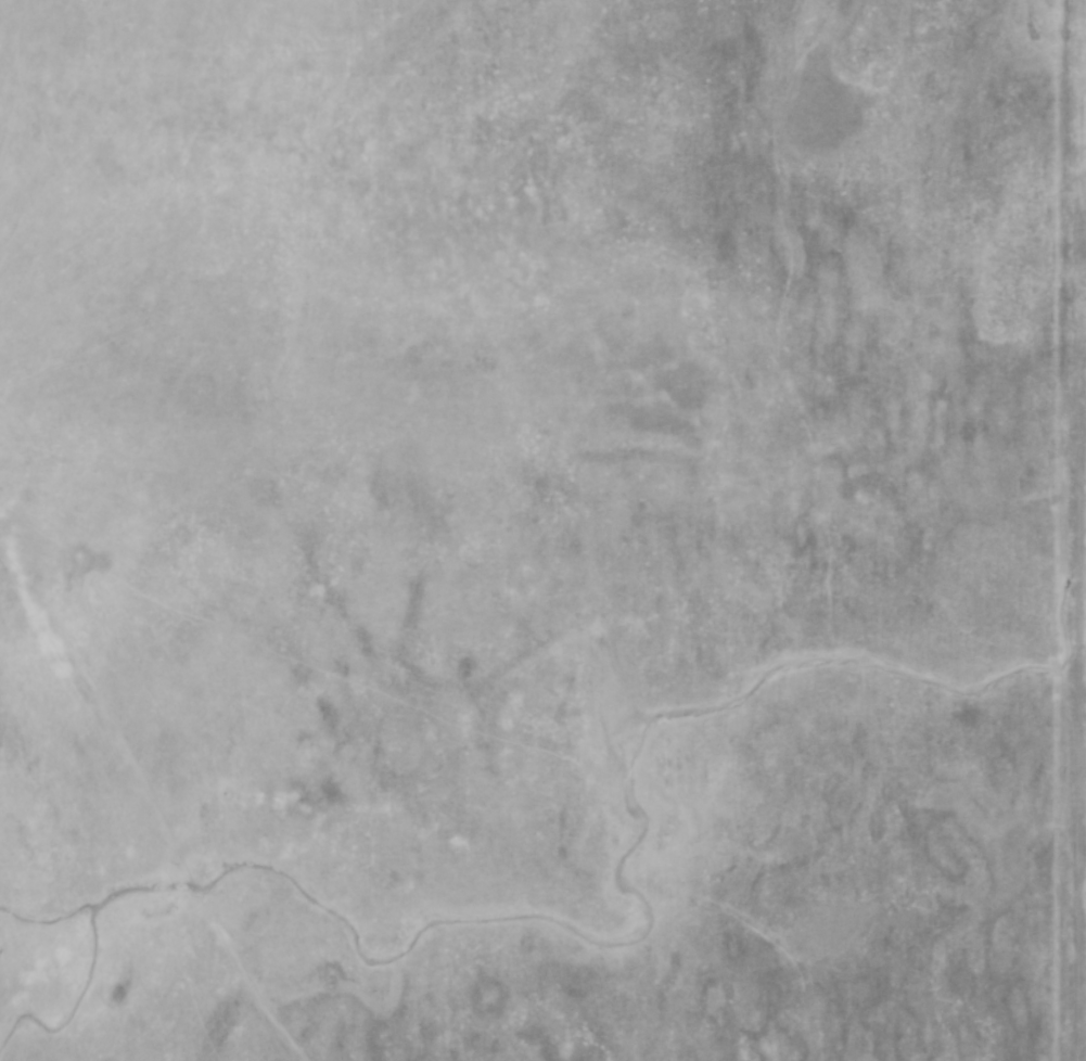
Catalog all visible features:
railway: (1073, 530)

